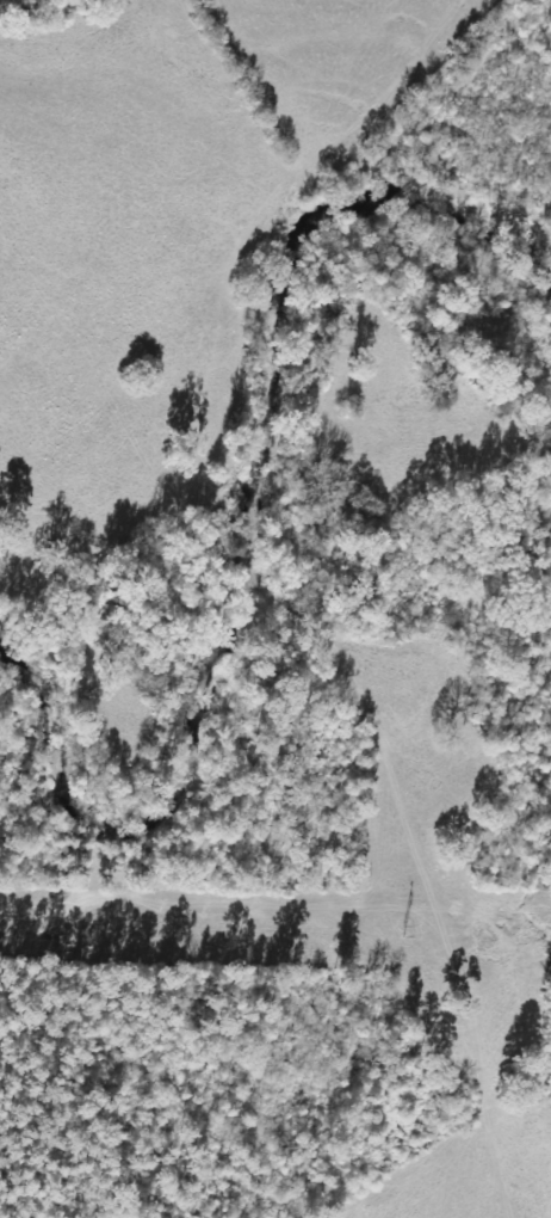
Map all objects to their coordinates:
power tower: (395, 929)

